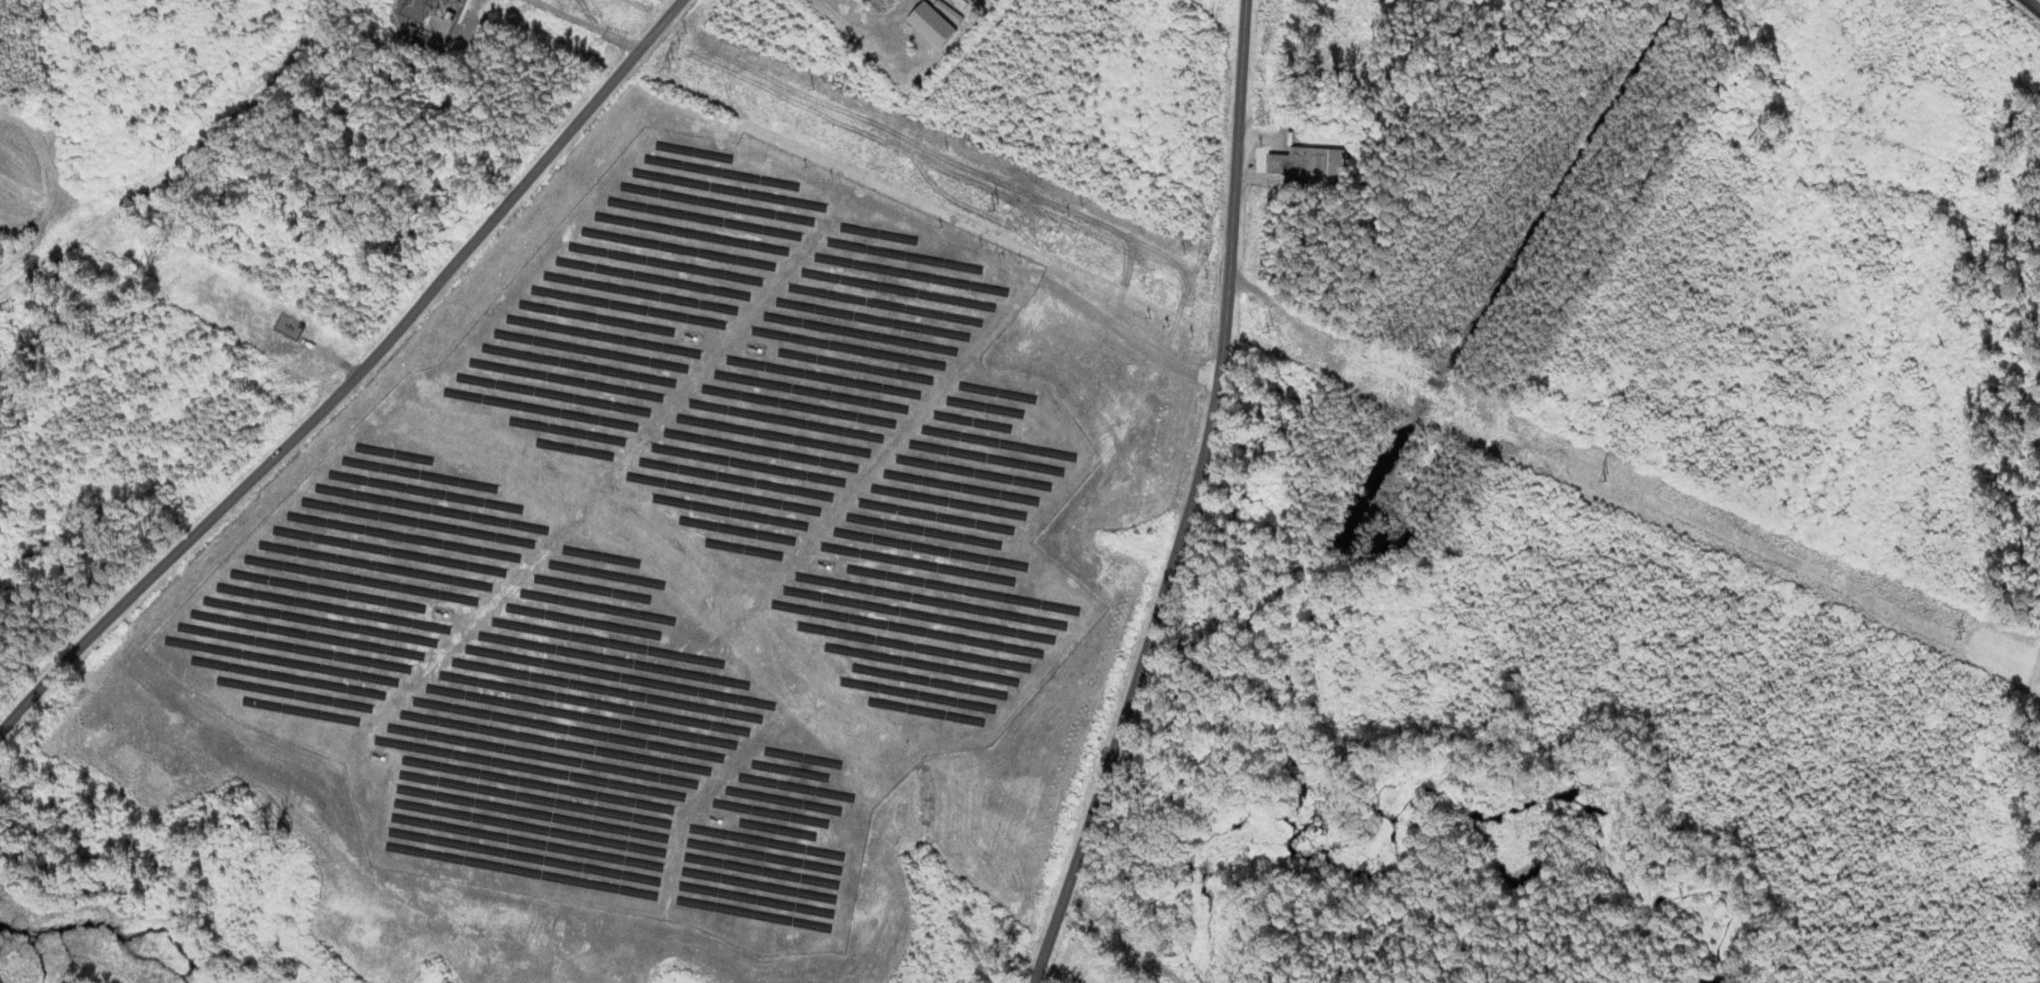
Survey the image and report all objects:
road: (2036, 3)
power substation: (437, 22)
power tower: (675, 62)
building: (1313, 161)
power tower: (997, 206)
power tower: (1273, 329)
road: (349, 378)
power tower: (1607, 477)
road: (1189, 501)
solar farm: (672, 548)
power tower: (1963, 635)

